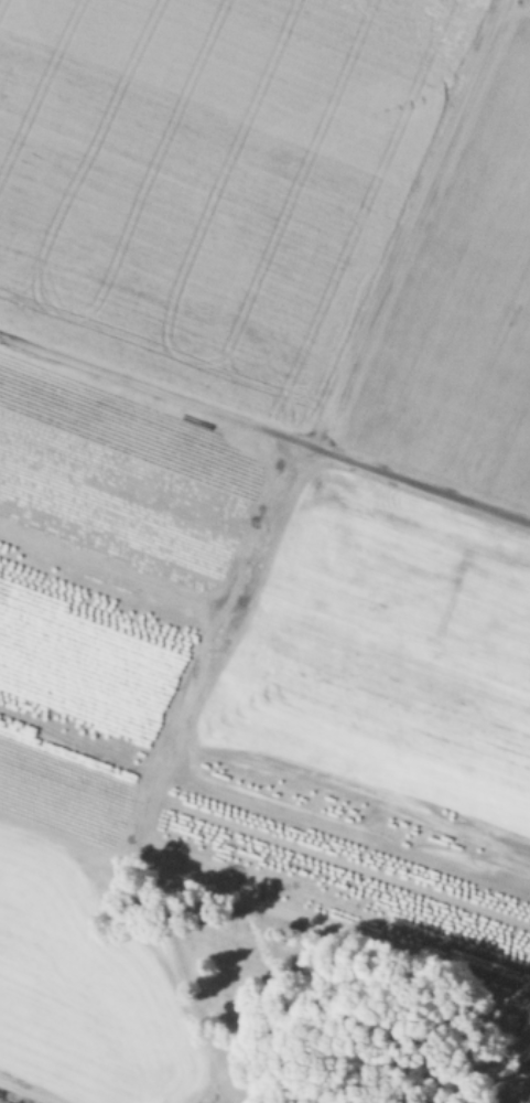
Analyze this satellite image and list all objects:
crop: (264, 551)
road: (18, 1095)
building: (0, 1102)

